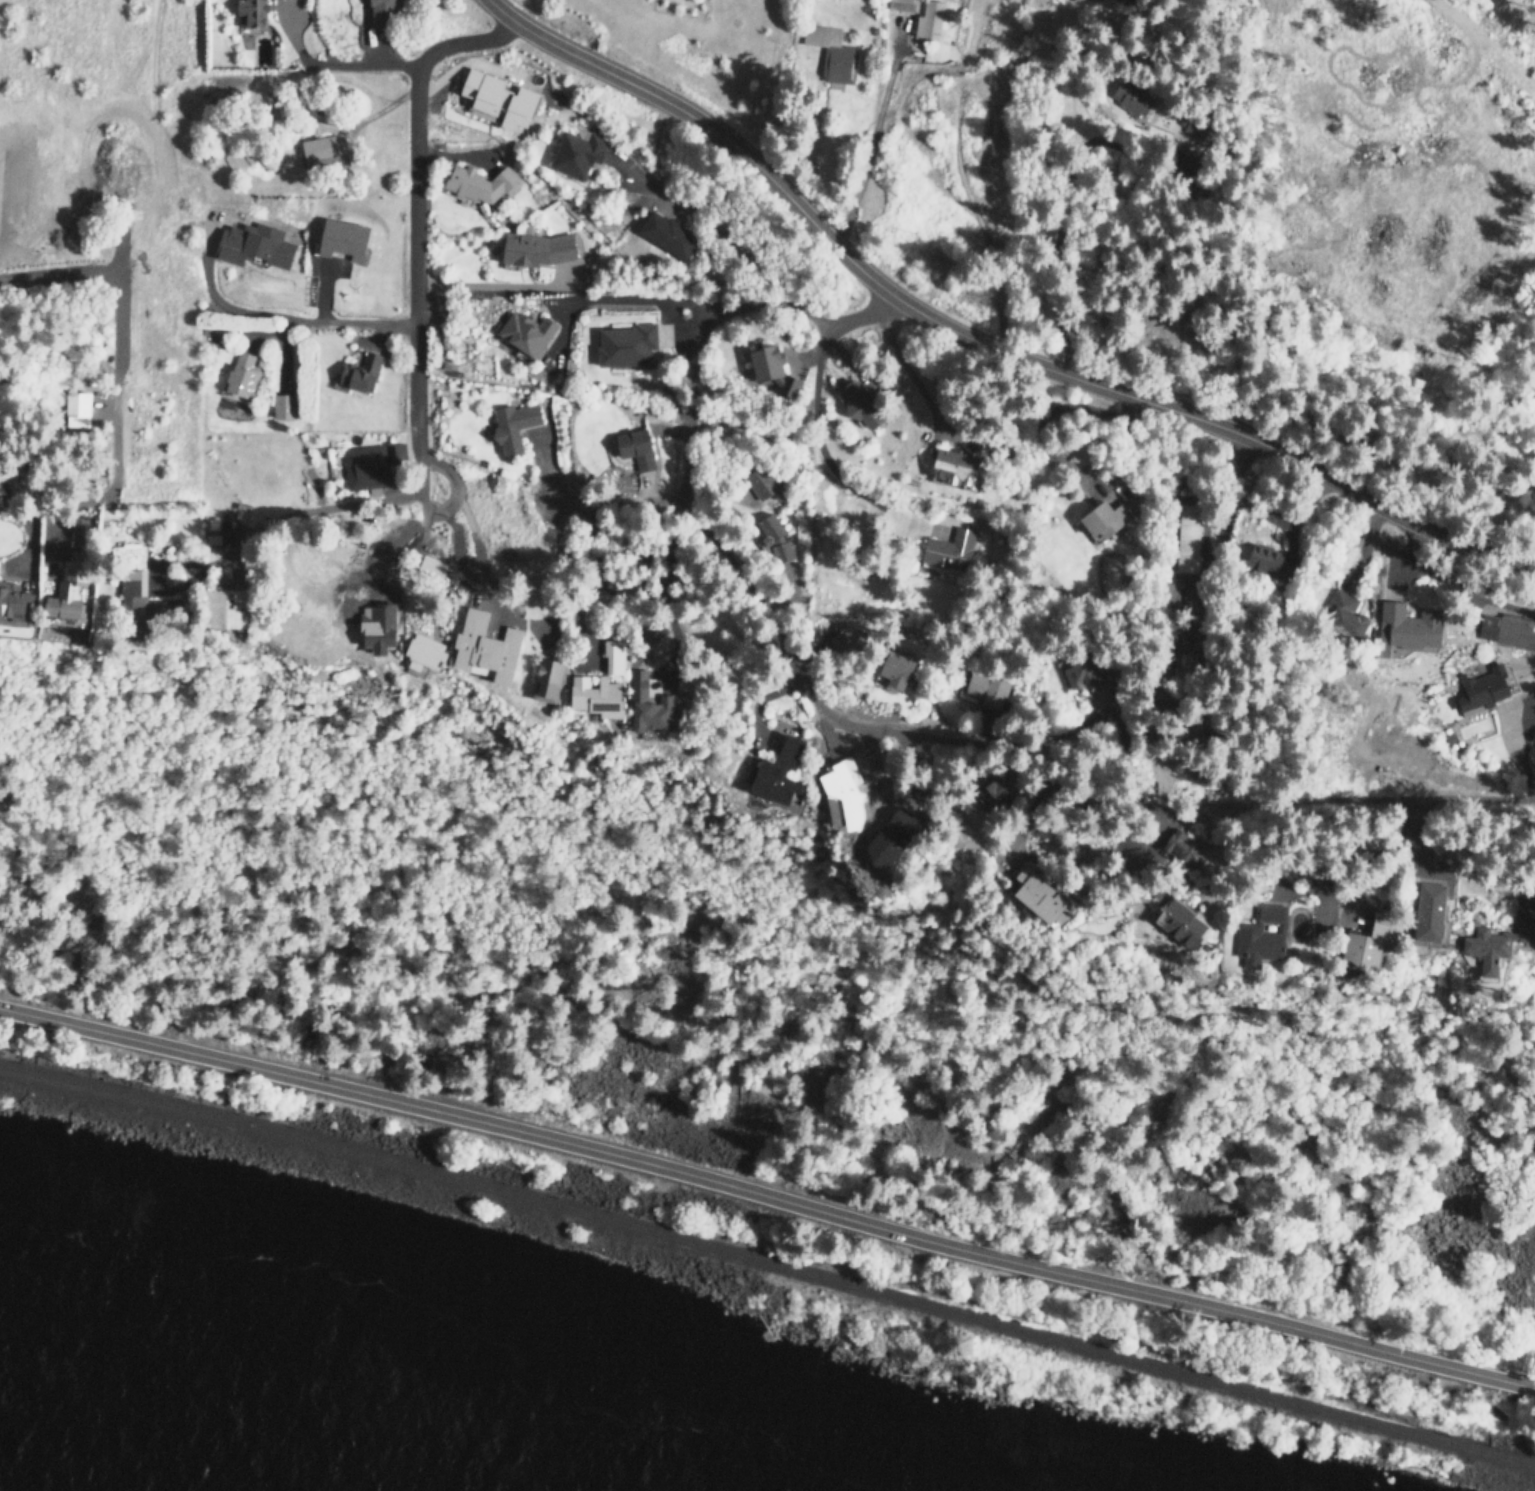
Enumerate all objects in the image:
road: (414, 280)
road: (647, 301)
road: (273, 316)
road: (976, 339)
road: (814, 441)
road: (12, 444)
road: (613, 510)
road: (1090, 538)
road: (717, 546)
road: (1381, 827)
road: (768, 1195)
railway: (769, 1262)

